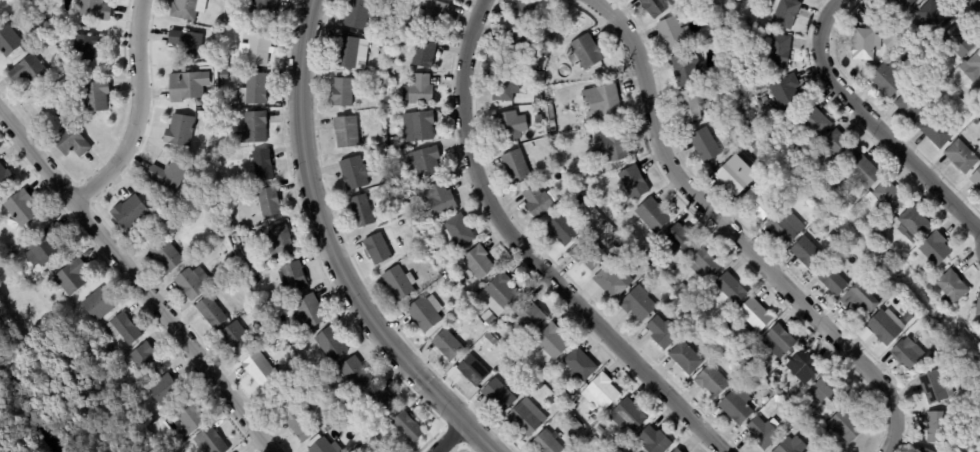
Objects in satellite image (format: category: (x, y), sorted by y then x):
building: (902, 5)
building: (656, 6)
road: (973, 6)
building: (25, 7)
building: (35, 9)
building: (93, 9)
building: (187, 9)
building: (681, 10)
building: (264, 11)
building: (44, 12)
building: (523, 12)
building: (358, 13)
building: (786, 13)
building: (433, 14)
building: (932, 18)
building: (893, 24)
building: (58, 26)
building: (671, 33)
building: (552, 35)
building: (8, 41)
building: (890, 41)
building: (718, 42)
building: (957, 42)
building: (185, 43)
building: (864, 44)
building: (548, 45)
building: (515, 46)
building: (84, 47)
building: (254, 50)
building: (382, 50)
building: (777, 50)
building: (421, 51)
building: (584, 52)
building: (350, 53)
building: (544, 55)
building: (974, 67)
building: (685, 69)
building: (27, 71)
building: (77, 72)
building: (222, 75)
building: (596, 75)
building: (389, 81)
building: (886, 81)
building: (501, 85)
building: (186, 86)
building: (253, 89)
building: (418, 90)
building: (341, 92)
building: (754, 92)
building: (785, 92)
building: (91, 97)
building: (764, 100)
building: (968, 100)
building: (197, 102)
building: (601, 102)
building: (689, 105)
building: (912, 107)
road: (142, 111)
building: (770, 115)
building: (539, 119)
building: (815, 120)
building: (976, 122)
road: (872, 125)
building: (506, 126)
building: (417, 127)
building: (221, 129)
building: (251, 129)
building: (178, 131)
building: (936, 131)
building: (345, 132)
building: (70, 142)
building: (392, 144)
building: (704, 145)
building: (610, 146)
building: (792, 146)
building: (839, 146)
building: (750, 147)
building: (757, 154)
building: (961, 156)
building: (424, 163)
building: (262, 165)
building: (515, 167)
building: (354, 173)
building: (863, 173)
building: (735, 175)
building: (167, 176)
building: (386, 176)
building: (5, 179)
building: (976, 179)
building: (633, 183)
building: (713, 183)
building: (391, 187)
building: (581, 189)
building: (832, 189)
building: (889, 197)
building: (438, 199)
building: (757, 202)
building: (269, 203)
building: (537, 203)
building: (160, 207)
building: (20, 209)
building: (361, 211)
building: (129, 213)
building: (652, 215)
building: (912, 225)
building: (784, 227)
building: (561, 230)
building: (457, 232)
road: (733, 237)
building: (279, 240)
building: (677, 240)
building: (832, 240)
building: (42, 248)
building: (377, 248)
building: (935, 249)
road: (331, 252)
building: (588, 253)
road: (530, 254)
building: (807, 254)
building: (648, 255)
building: (164, 256)
building: (477, 263)
building: (704, 264)
building: (231, 266)
building: (71, 278)
building: (293, 278)
building: (206, 280)
building: (612, 280)
building: (831, 280)
road: (133, 281)
building: (398, 283)
building: (189, 284)
building: (682, 287)
building: (928, 287)
building: (951, 288)
building: (731, 289)
building: (884, 291)
building: (497, 294)
building: (692, 297)
building: (859, 302)
building: (638, 303)
building: (97, 305)
building: (459, 306)
building: (978, 308)
building: (463, 311)
building: (900, 311)
building: (209, 312)
building: (309, 312)
building: (422, 315)
building: (530, 316)
building: (754, 317)
building: (907, 318)
building: (490, 321)
building: (882, 328)
building: (123, 329)
building: (662, 333)
building: (236, 340)
building: (779, 341)
building: (488, 342)
building: (550, 343)
building: (330, 344)
building: (446, 346)
building: (516, 347)
building: (533, 352)
building: (905, 354)
building: (685, 358)
building: (933, 358)
building: (142, 361)
building: (513, 361)
building: (804, 365)
building: (578, 366)
building: (297, 368)
building: (259, 369)
building: (743, 369)
building: (542, 370)
building: (472, 371)
building: (502, 373)
building: (355, 375)
building: (711, 382)
building: (323, 383)
building: (934, 388)
building: (139, 391)
building: (163, 391)
building: (828, 391)
building: (567, 393)
building: (600, 394)
building: (497, 396)
building: (322, 398)
building: (280, 399)
building: (575, 401)
building: (382, 403)
building: (810, 403)
building: (342, 404)
building: (571, 406)
building: (735, 409)
building: (627, 416)
building: (187, 420)
building: (523, 420)
building: (590, 422)
building: (575, 426)
building: (846, 426)
building: (301, 427)
building: (407, 428)
building: (937, 428)
building: (599, 430)
building: (822, 430)
building: (592, 431)
building: (762, 434)
building: (597, 436)
road: (456, 439)
building: (210, 441)
building: (653, 441)
building: (545, 444)
building: (321, 446)
building: (791, 446)
building: (601, 449)
building: (676, 451)
building: (829, 451)
building: (924, 451)

